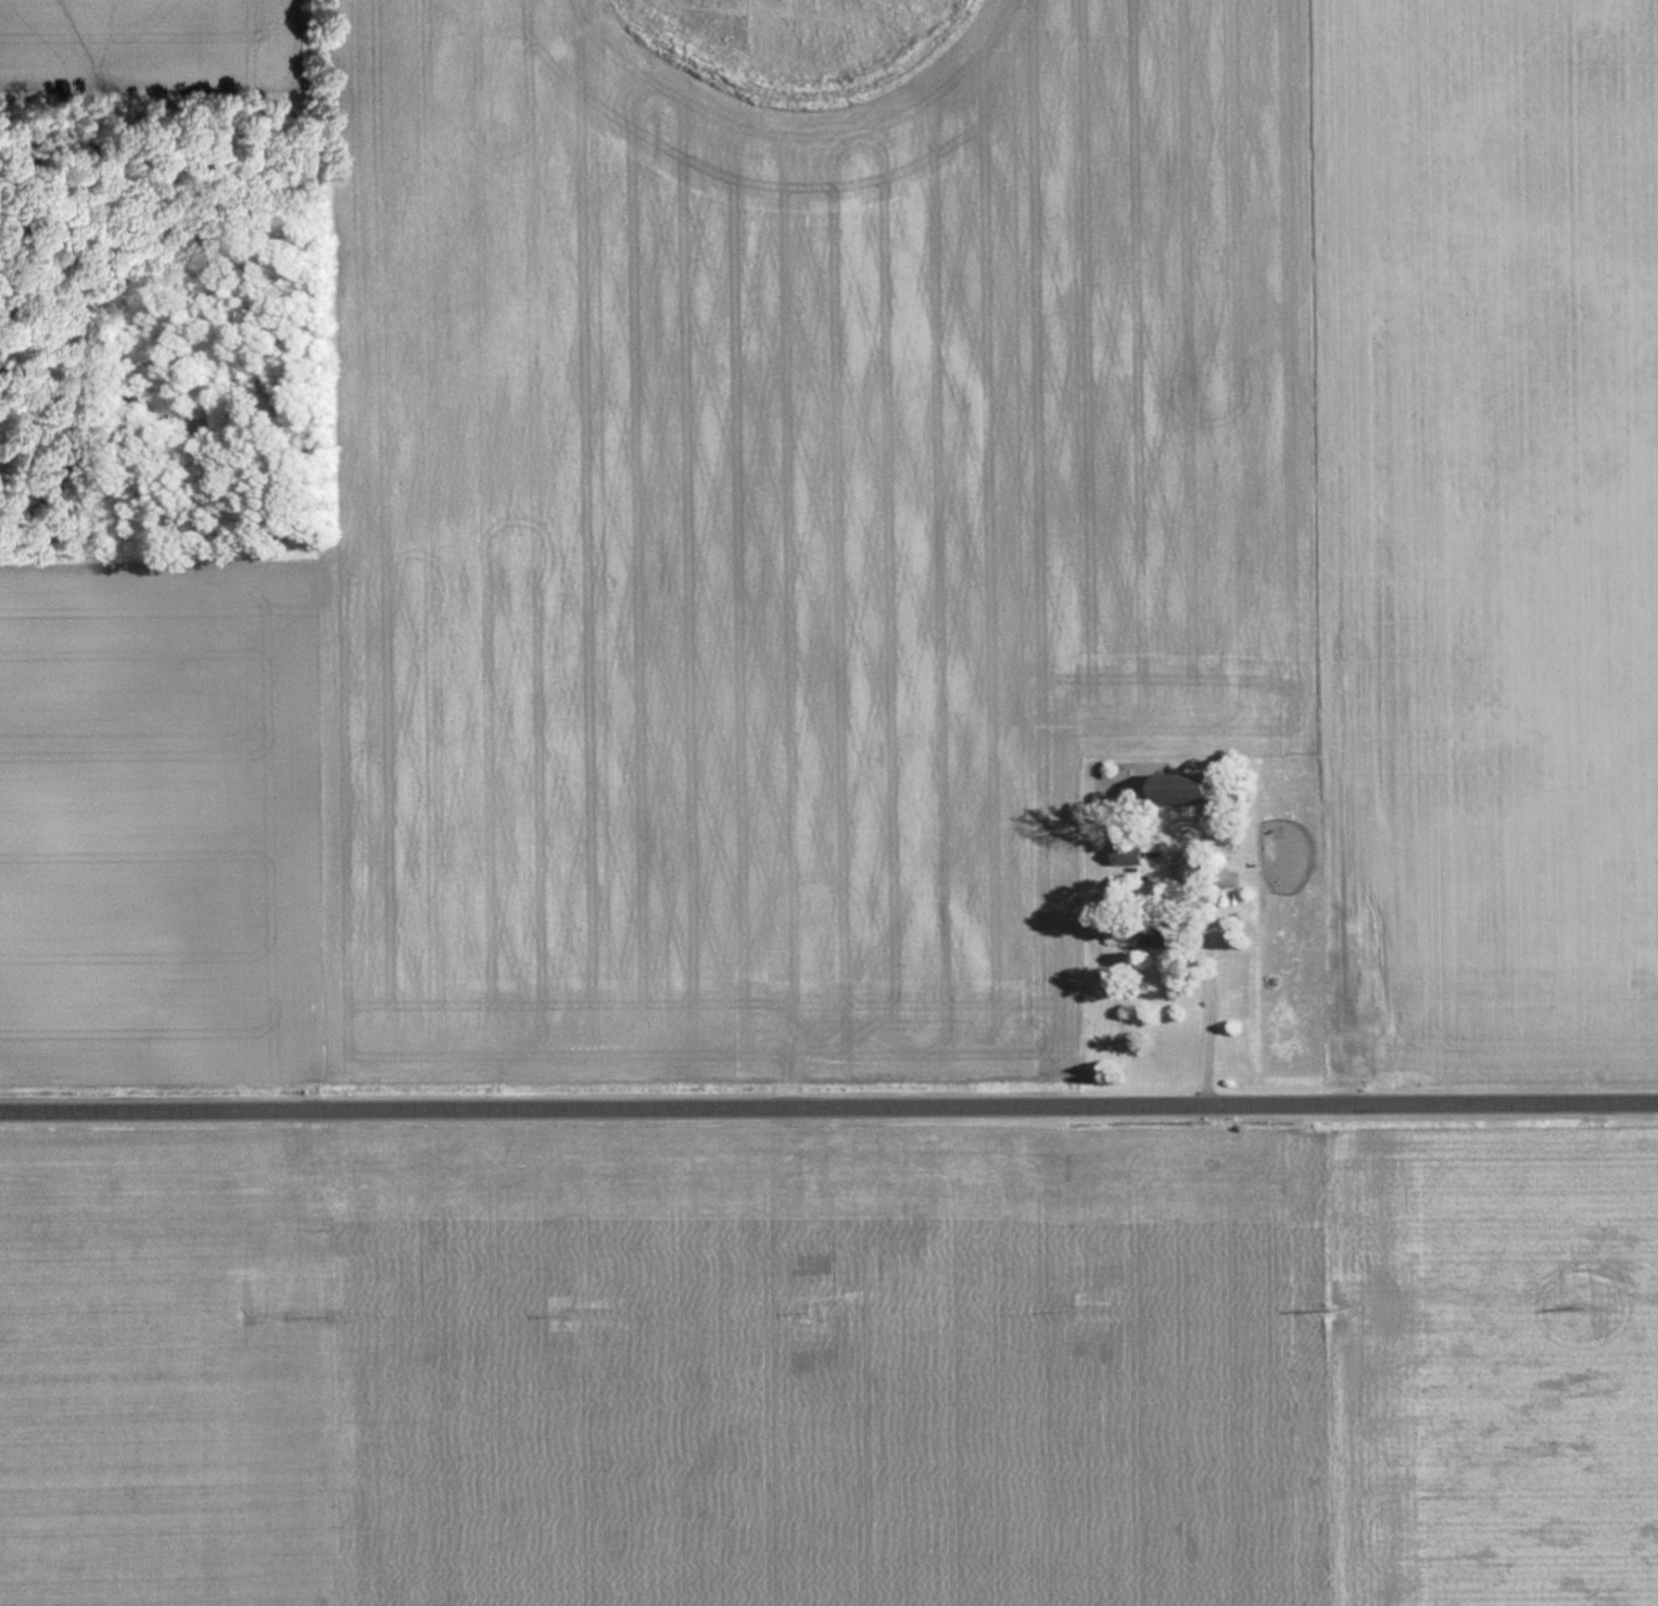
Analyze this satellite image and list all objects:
building: (1175, 788)
building: (1127, 856)
building: (1150, 933)
road: (1210, 1011)
road: (828, 1107)

